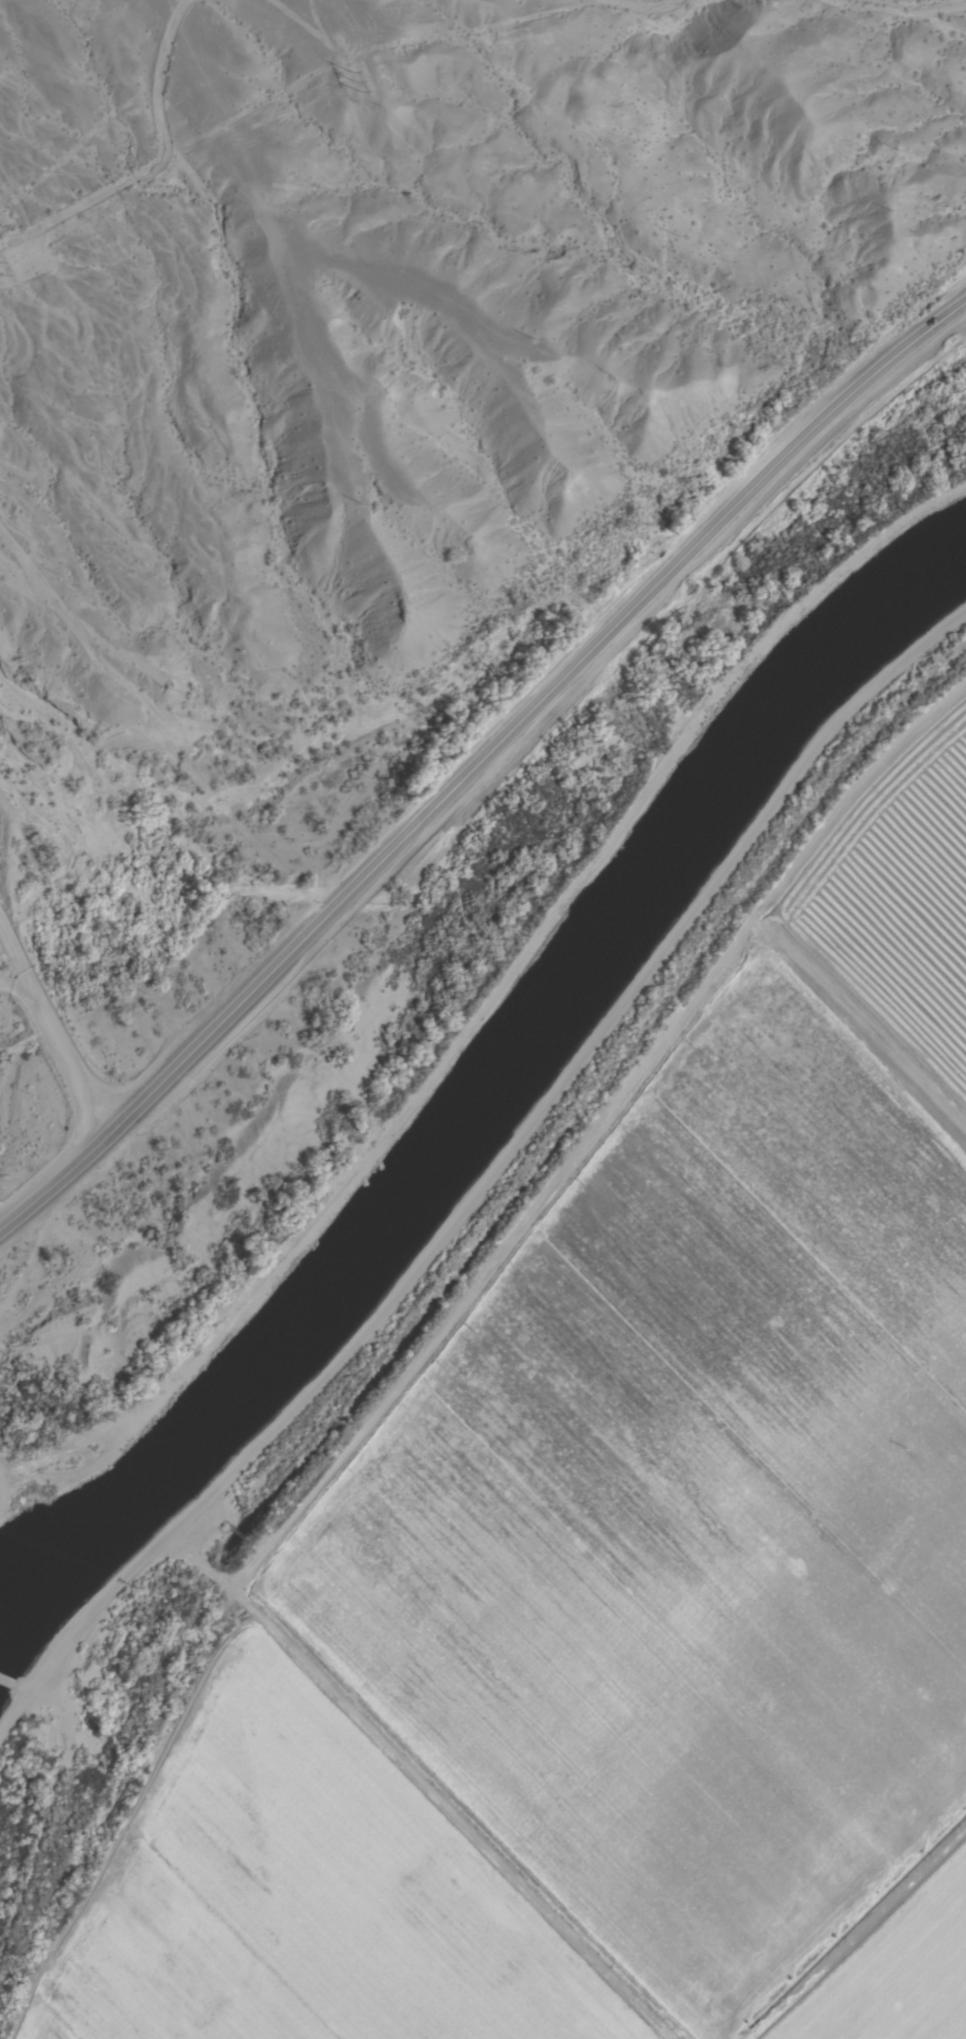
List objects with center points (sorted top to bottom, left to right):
power tower: (364, 80)
power tower: (1, 264)
road: (479, 768)
road: (65, 1047)
crop: (310, 1896)

